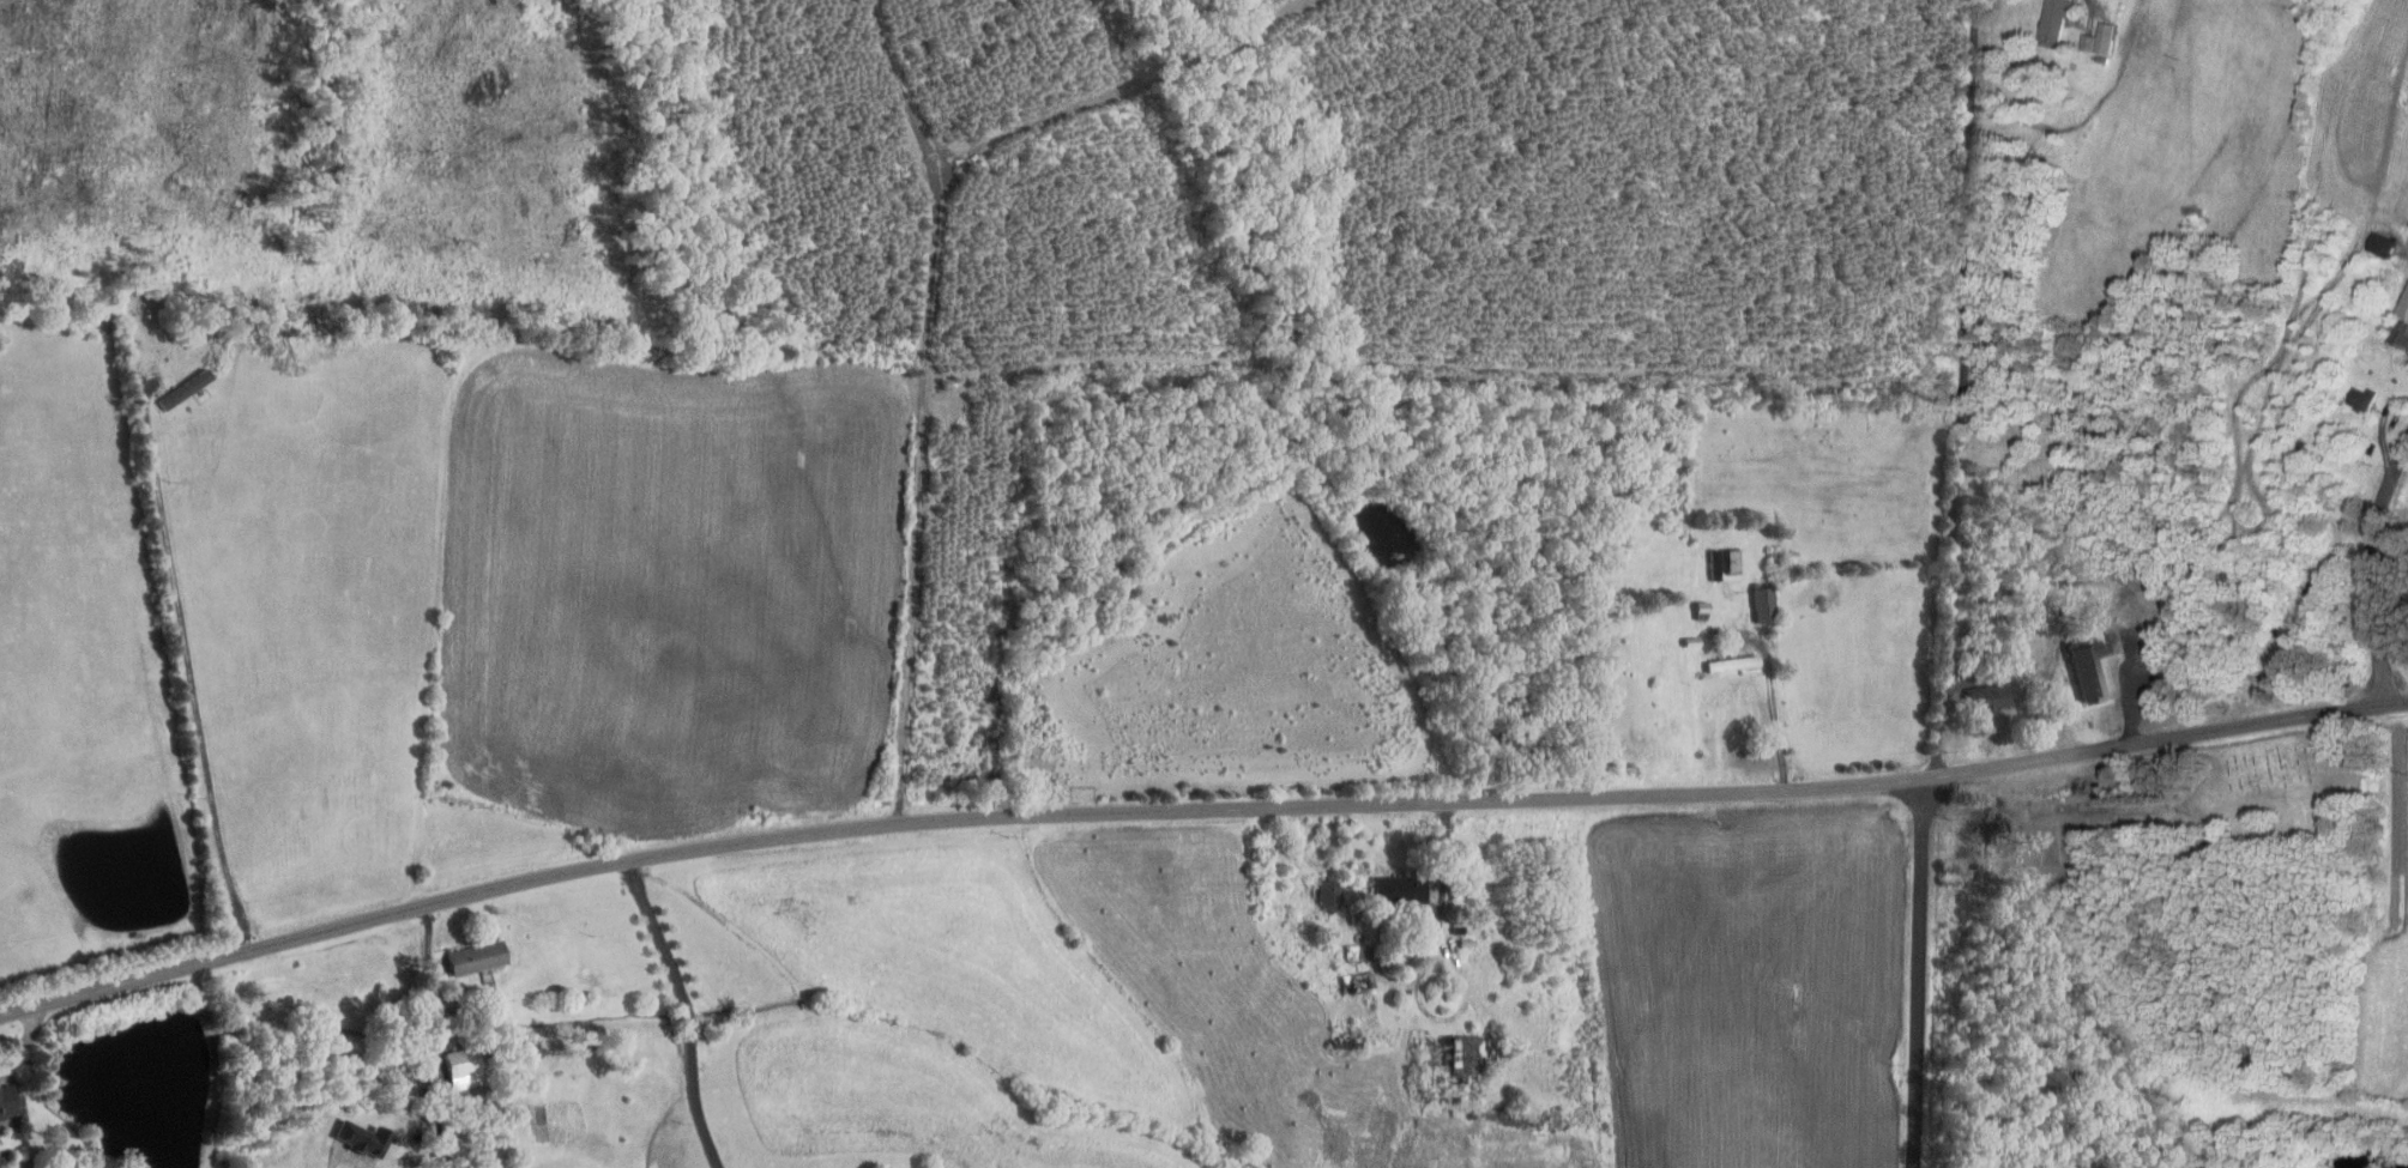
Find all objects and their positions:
building: (2060, 14)
building: (2108, 36)
building: (2385, 244)
building: (2402, 326)
road: (1953, 389)
building: (2366, 397)
building: (1739, 559)
road: (2371, 565)
building: (1764, 603)
building: (1733, 661)
building: (2094, 662)
road: (188, 674)
building: (1993, 695)
road: (1773, 719)
park: (2281, 770)
road: (1196, 807)
building: (1401, 889)
building: (1329, 890)
building: (1356, 950)
building: (479, 956)
road: (1419, 969)
road: (1920, 973)
building: (1357, 981)
road: (683, 1010)
road: (26, 1036)
building: (1462, 1059)
building: (465, 1066)
building: (8, 1101)
building: (366, 1137)
road: (345, 1151)

